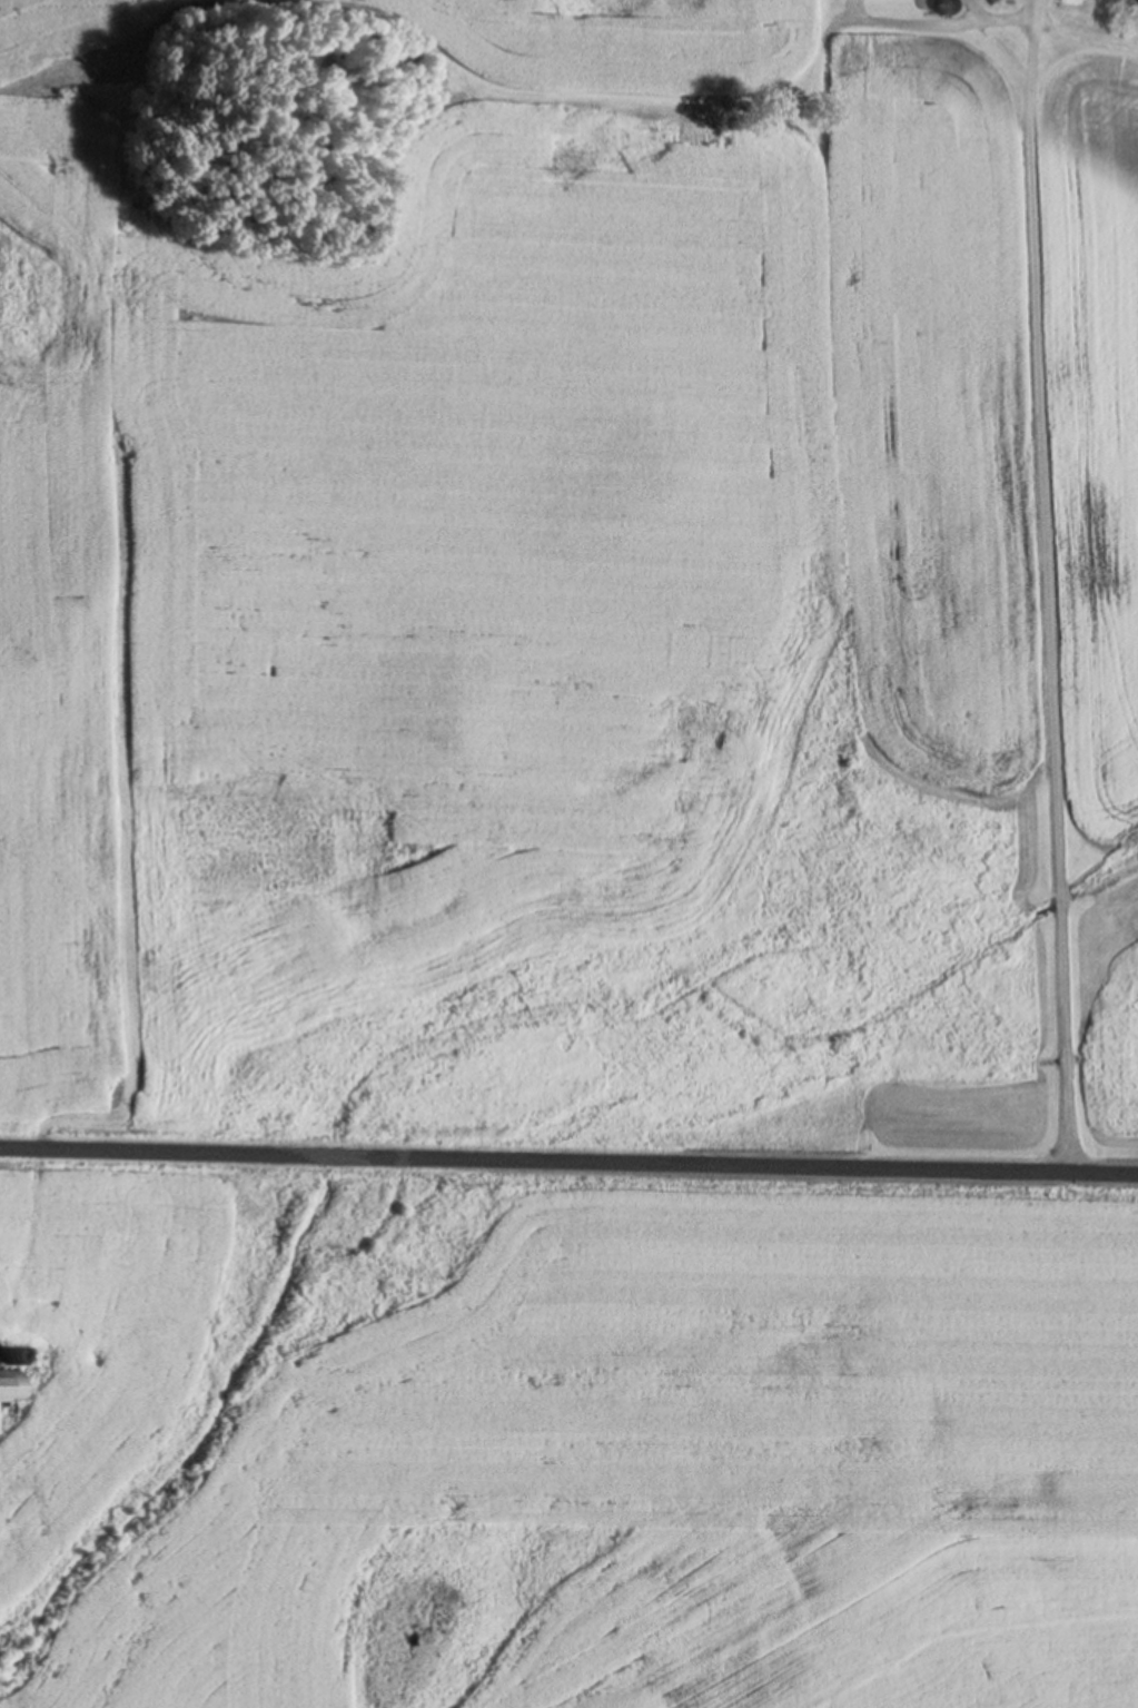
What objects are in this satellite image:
building: (1136, 0)
building: (950, 8)
road: (1051, 582)
road: (568, 1156)
building: (3, 1356)
building: (9, 1386)

